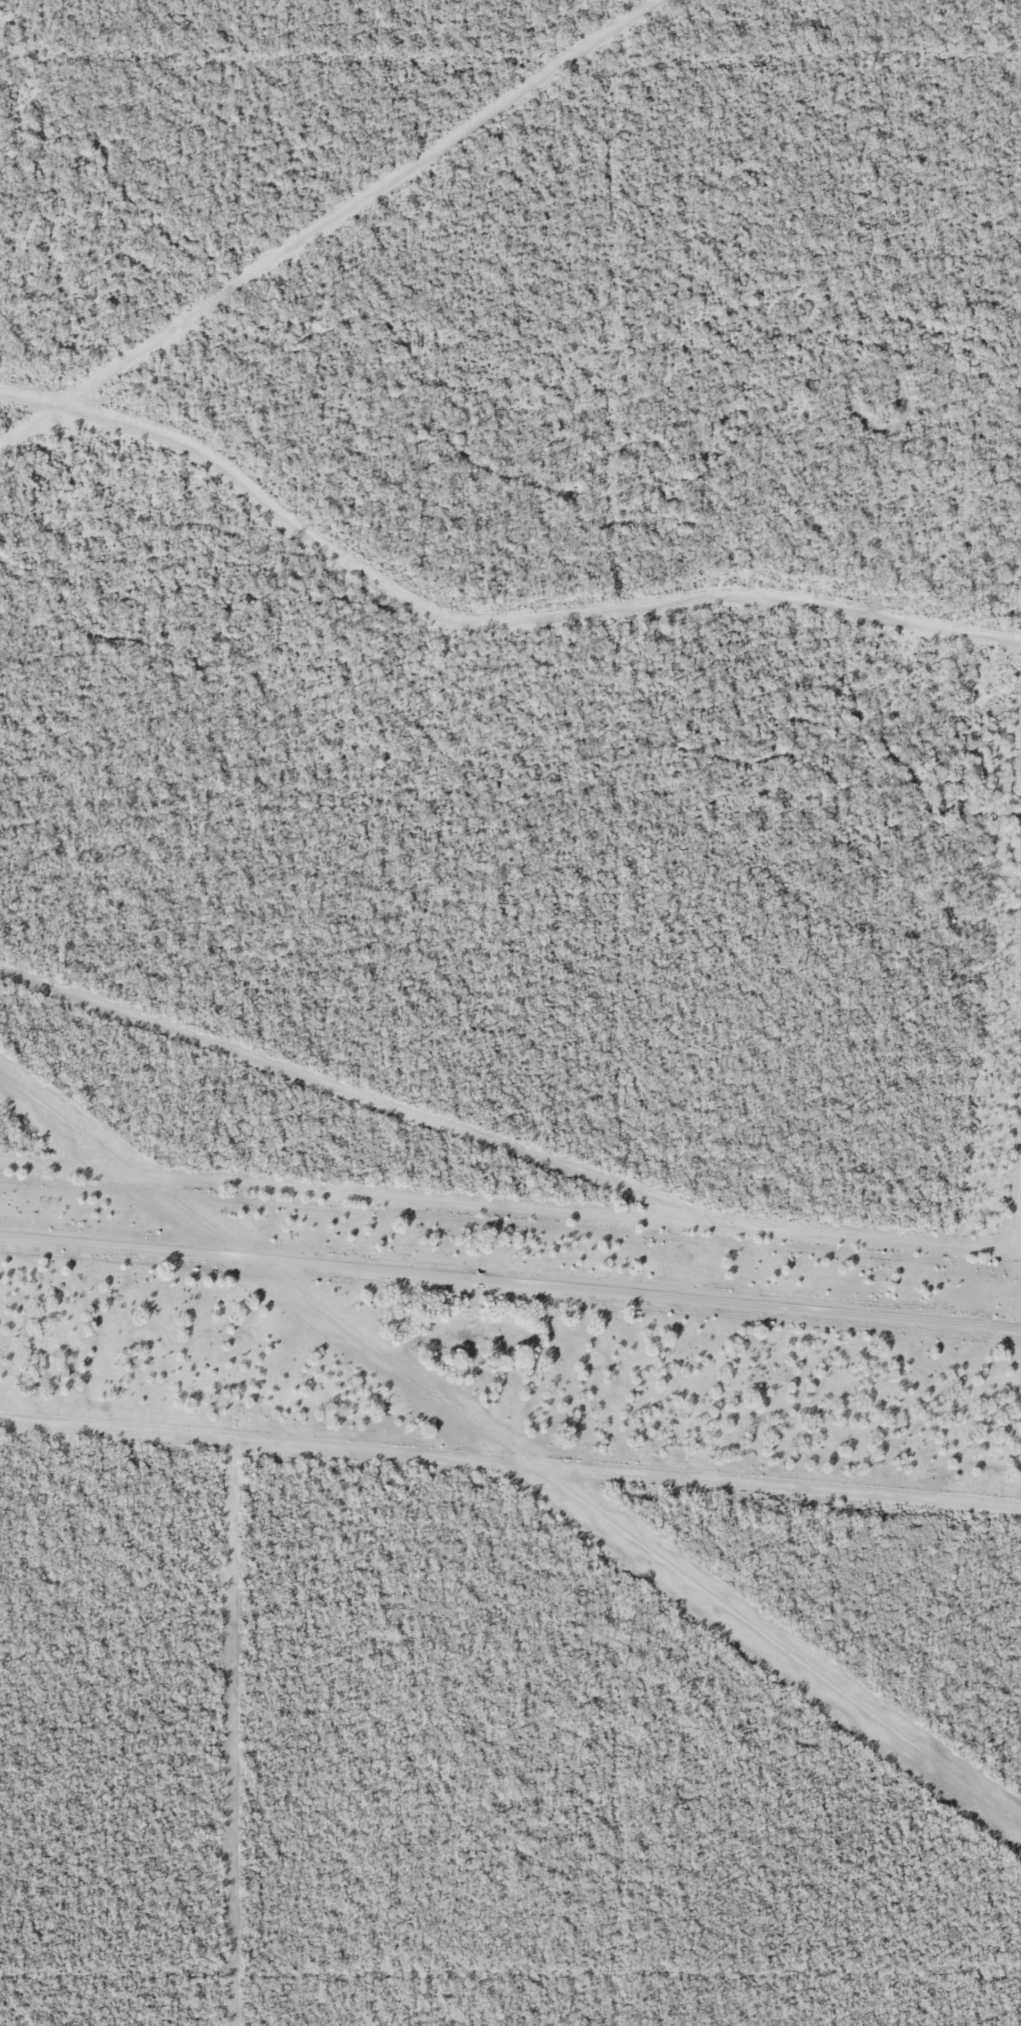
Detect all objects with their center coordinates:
road: (510, 1280)

